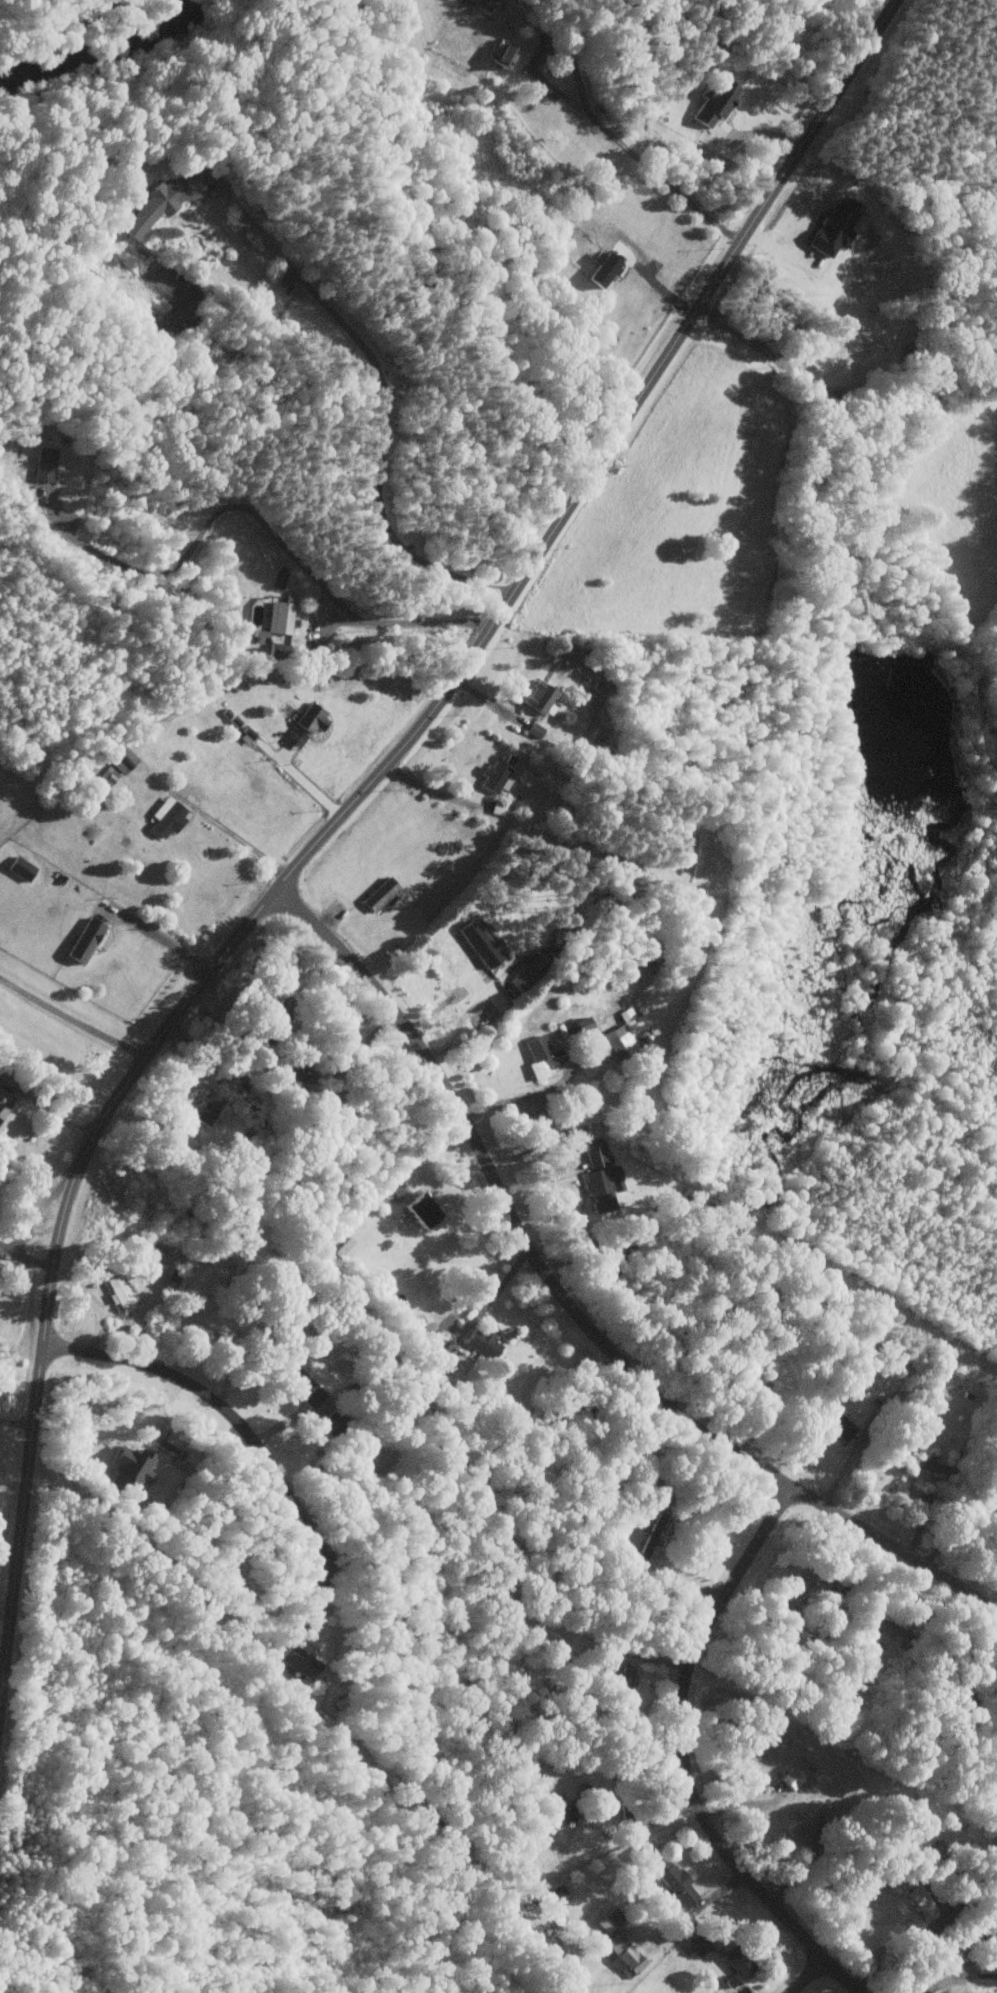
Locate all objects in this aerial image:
building: (484, 4)
building: (504, 53)
building: (716, 102)
road: (596, 118)
building: (162, 202)
building: (604, 270)
road: (656, 283)
road: (739, 336)
road: (384, 404)
building: (44, 464)
road: (260, 520)
building: (280, 617)
building: (539, 698)
building: (307, 725)
building: (124, 761)
building: (496, 775)
building: (107, 777)
road: (306, 778)
road: (432, 792)
road: (344, 811)
building: (167, 817)
road: (241, 839)
building: (21, 868)
building: (380, 895)
road: (162, 939)
building: (86, 941)
building: (480, 944)
building: (530, 972)
road: (464, 1015)
road: (72, 1016)
building: (628, 1030)
building: (540, 1057)
road: (521, 1097)
building: (207, 1107)
road: (48, 1108)
road: (420, 1147)
building: (601, 1176)
building: (421, 1210)
road: (36, 1211)
road: (25, 1256)
building: (120, 1292)
road: (95, 1303)
road: (573, 1311)
road: (476, 1321)
building: (484, 1341)
building: (300, 1386)
road: (226, 1412)
building: (836, 1422)
road: (16, 1423)
building: (131, 1467)
building: (934, 1468)
road: (12, 1485)
road: (957, 1531)
road: (8, 1556)
building: (299, 1660)
road: (684, 1756)
building: (566, 1811)
road: (648, 1826)
building: (674, 1880)
building: (556, 1897)
building: (922, 1902)
building: (609, 1920)
building: (622, 1953)
building: (739, 1962)
road: (807, 1976)
road: (950, 1980)
building: (996, 1992)

